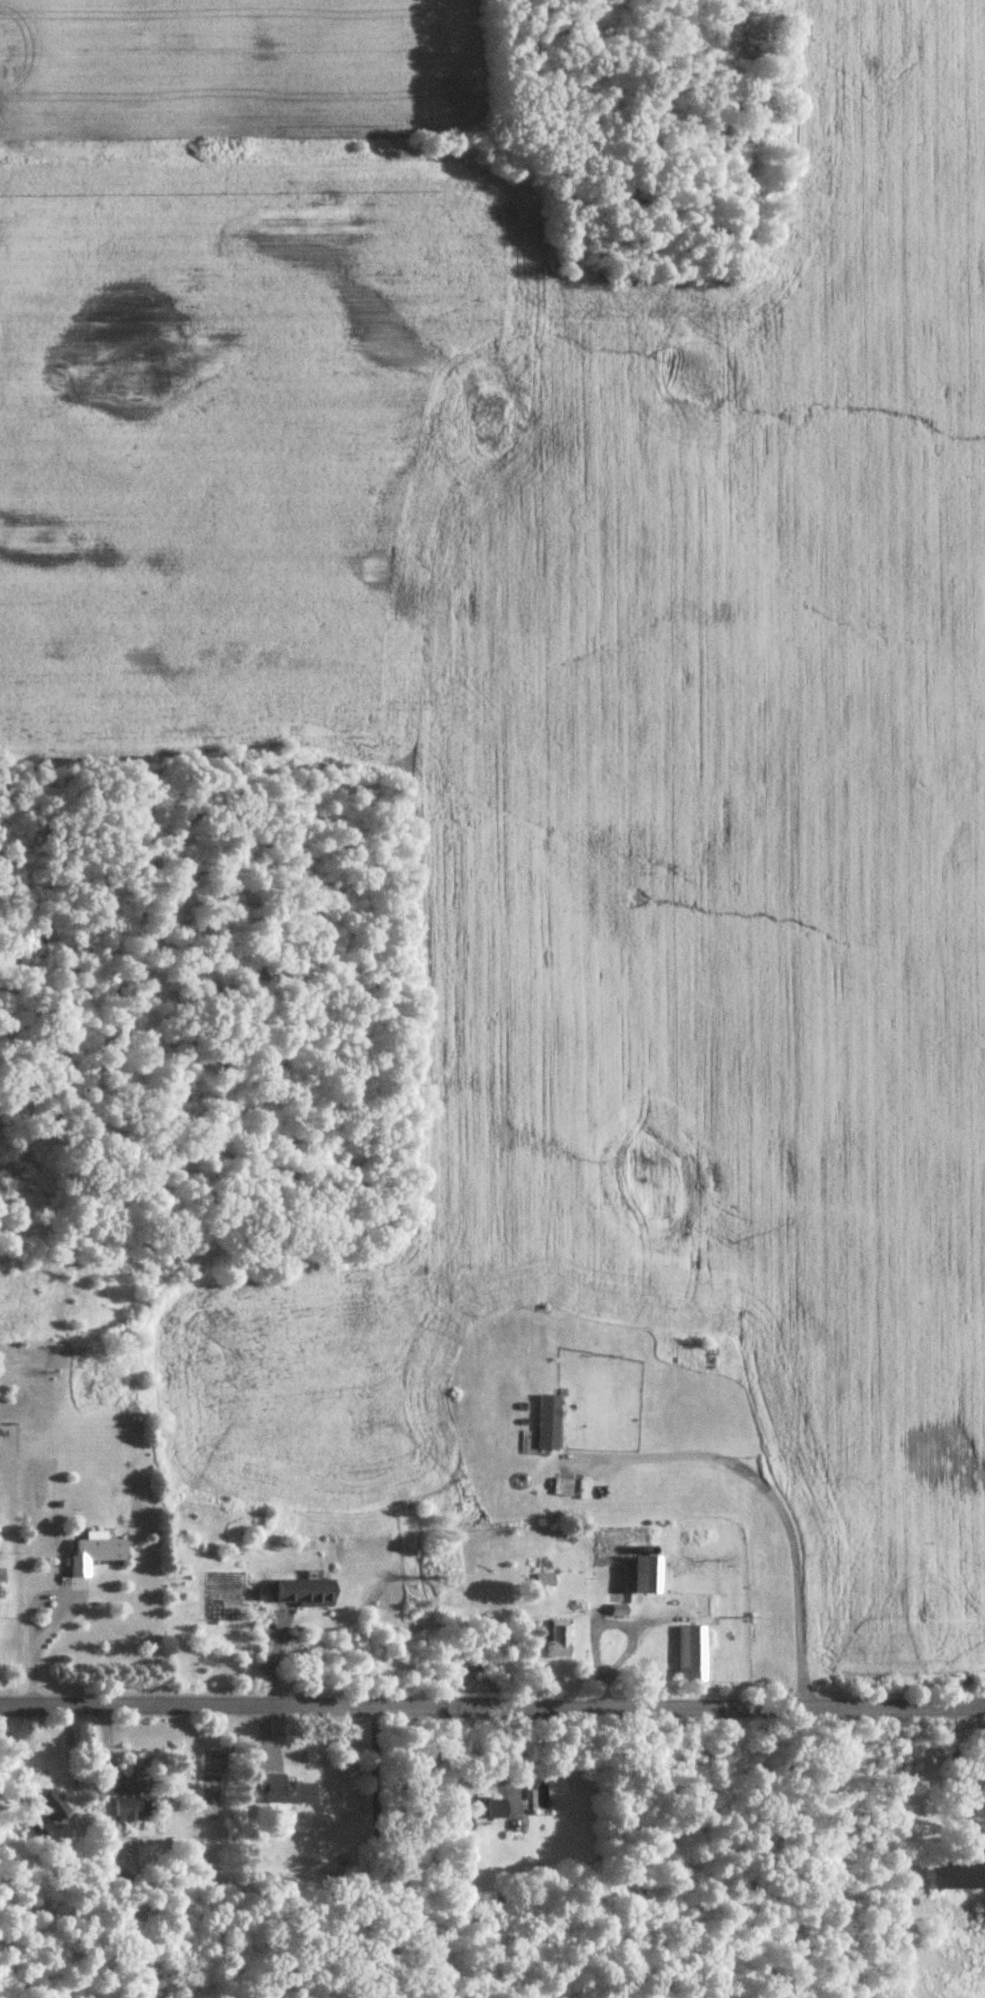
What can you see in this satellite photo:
building: (548, 1423)
road: (769, 1494)
building: (96, 1552)
building: (648, 1575)
building: (545, 1581)
building: (306, 1593)
road: (34, 1606)
building: (620, 1611)
road: (624, 1630)
building: (559, 1639)
building: (692, 1654)
road: (492, 1698)
building: (110, 1787)
building: (285, 1791)
building: (135, 1808)
building: (48, 1812)
building: (480, 1812)
road: (374, 1848)
building: (959, 1876)

